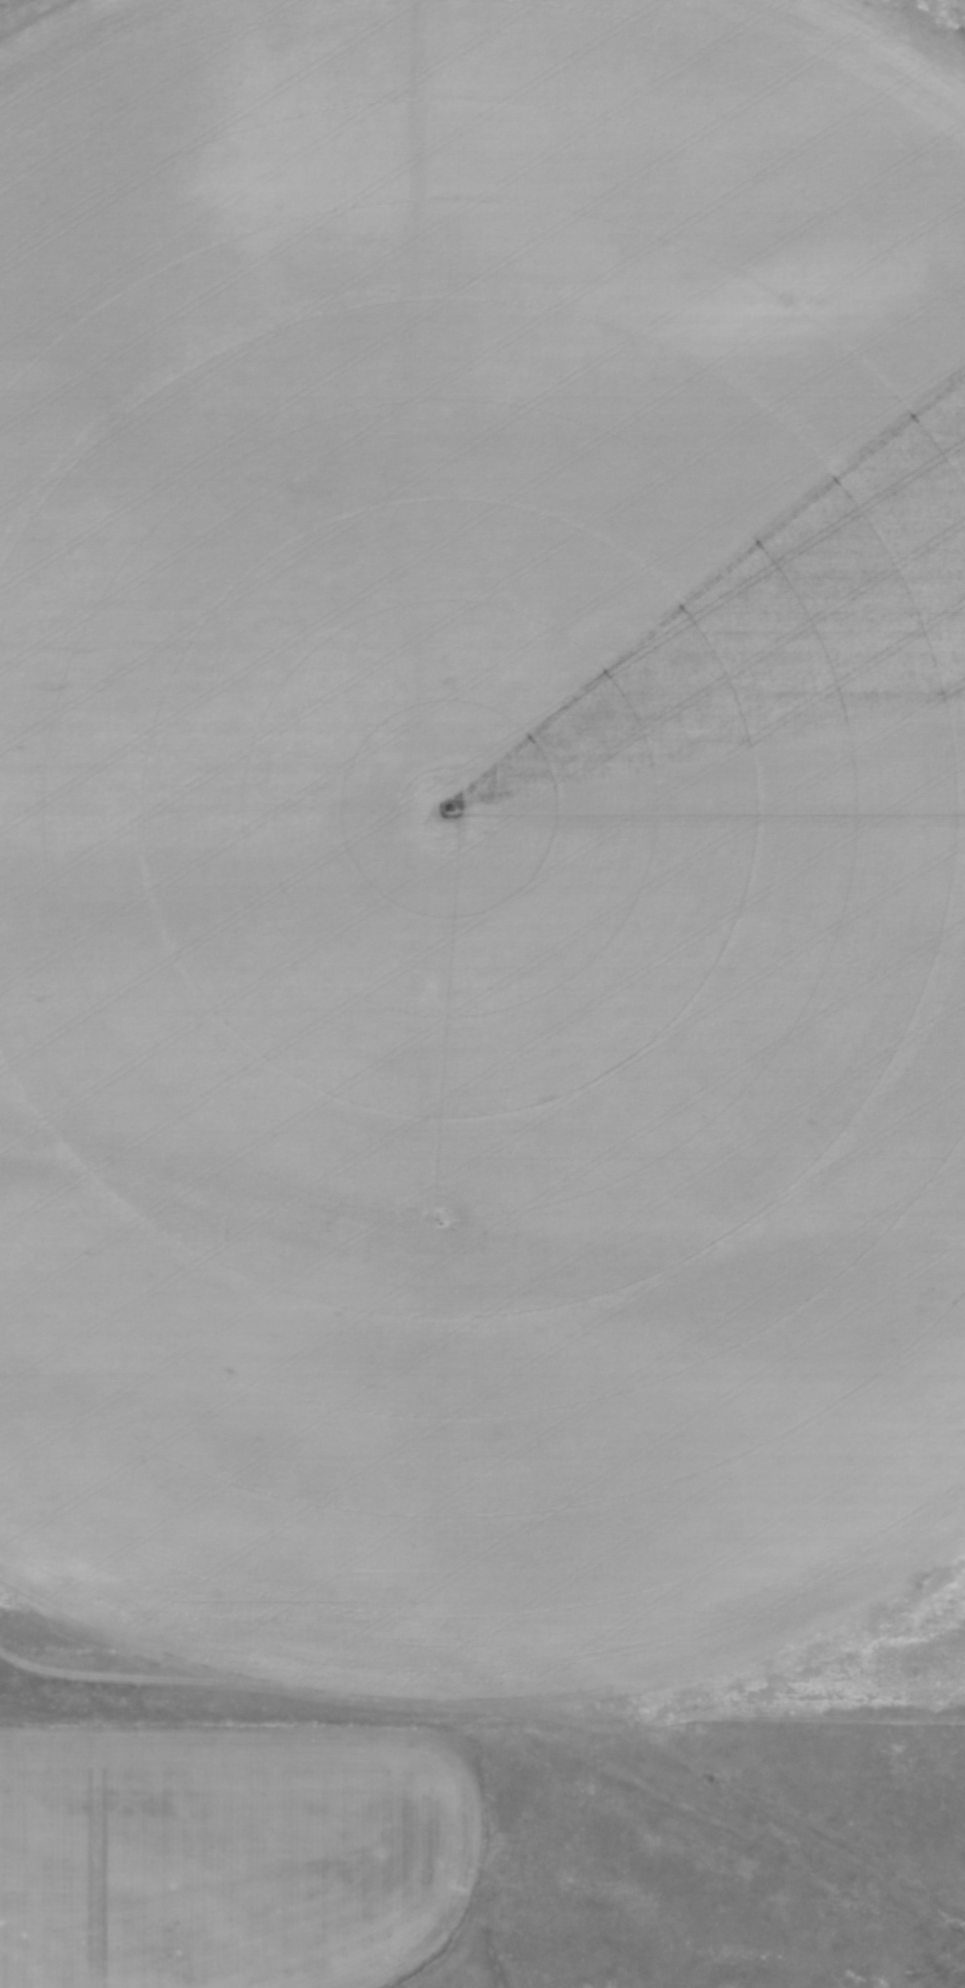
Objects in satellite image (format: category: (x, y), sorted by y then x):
crop: (479, 825)
crop: (232, 1856)

